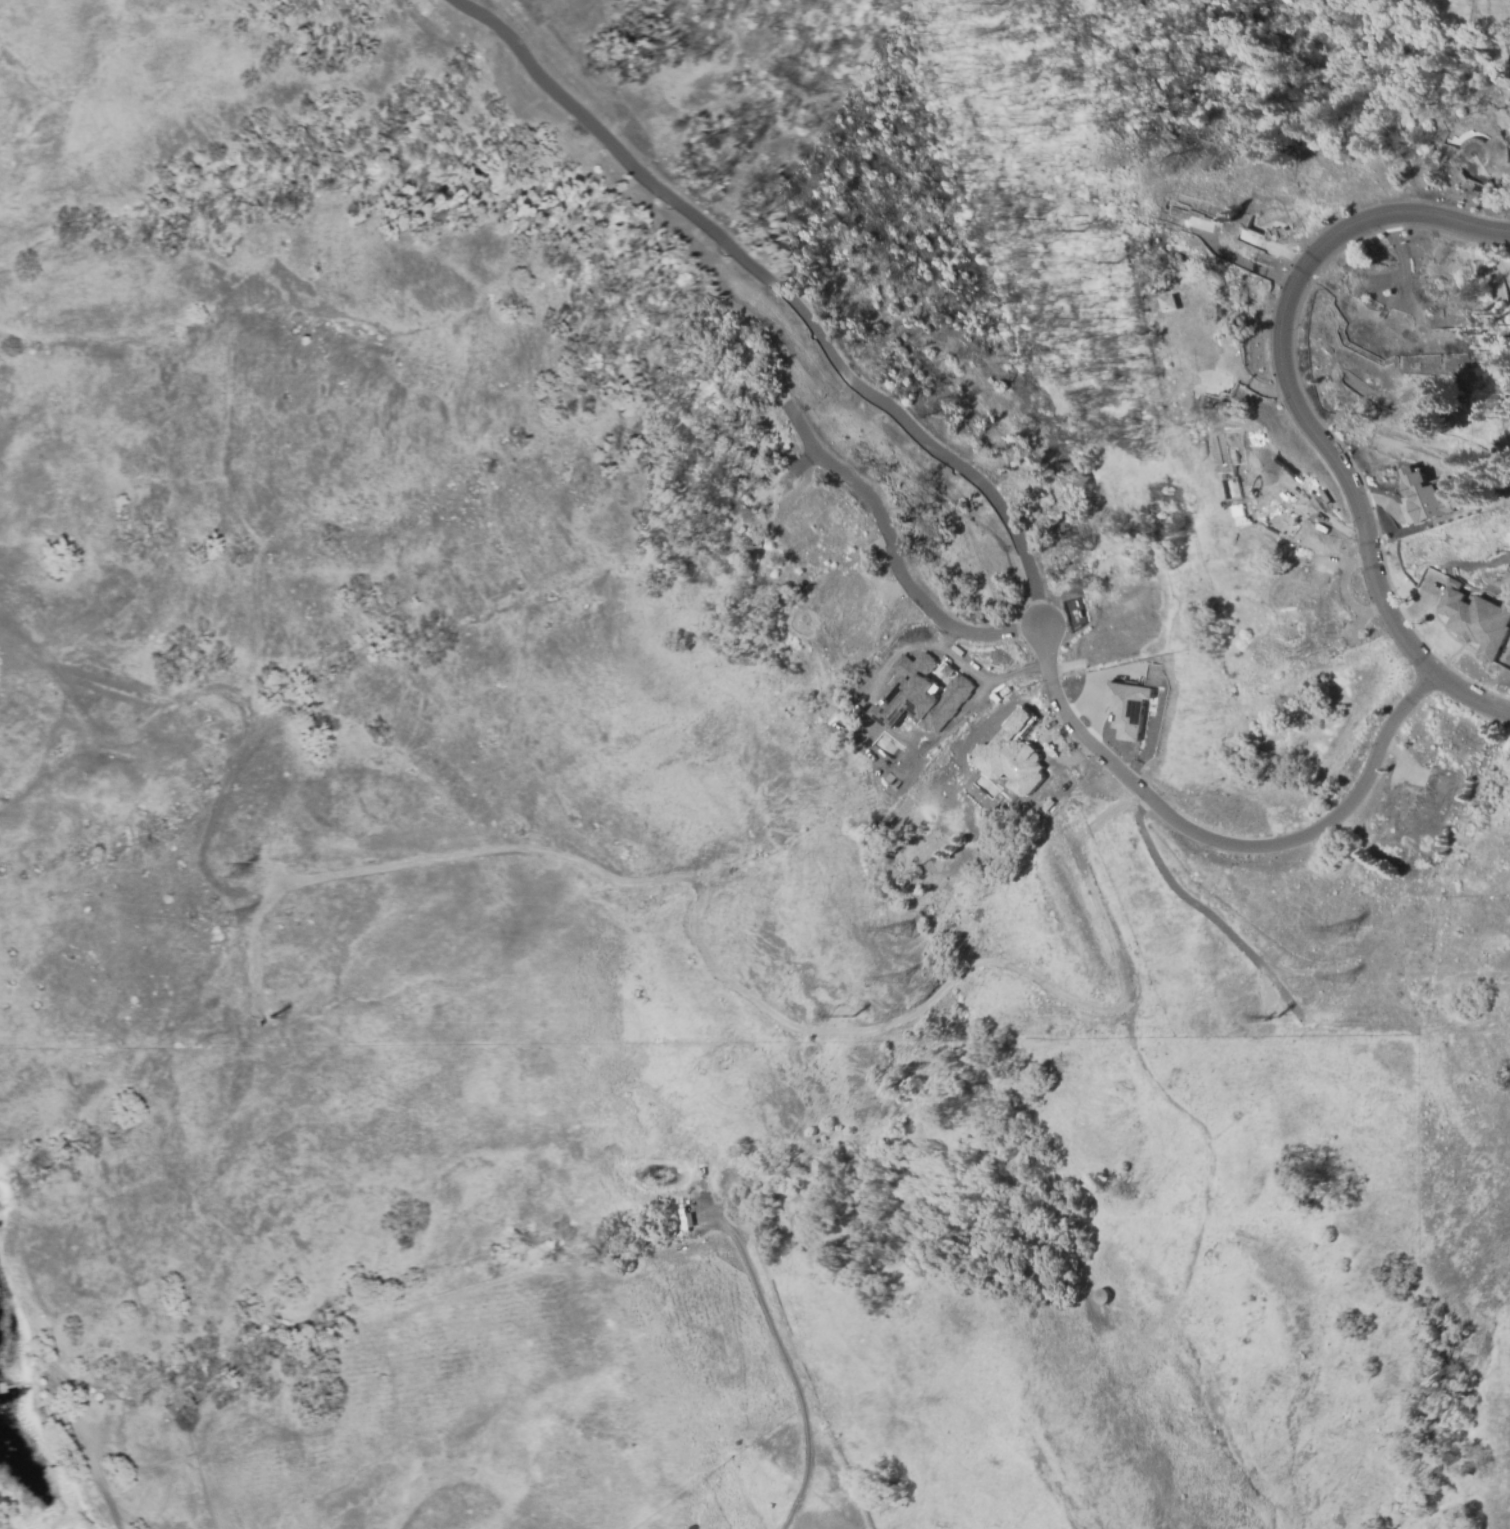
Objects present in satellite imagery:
building: (1169, 304)
road: (1293, 411)
building: (1423, 497)
road: (902, 573)
building: (1476, 622)
building: (921, 695)
building: (1129, 706)
building: (1011, 756)
road: (1219, 845)
power tower: (228, 870)
power tower: (226, 921)
power tower: (901, 928)
power tower: (1345, 928)
power tower: (898, 980)
power tower: (1345, 980)
power tower: (862, 1014)
power tower: (1263, 1018)
power tower: (280, 1019)
building: (1101, 1296)

